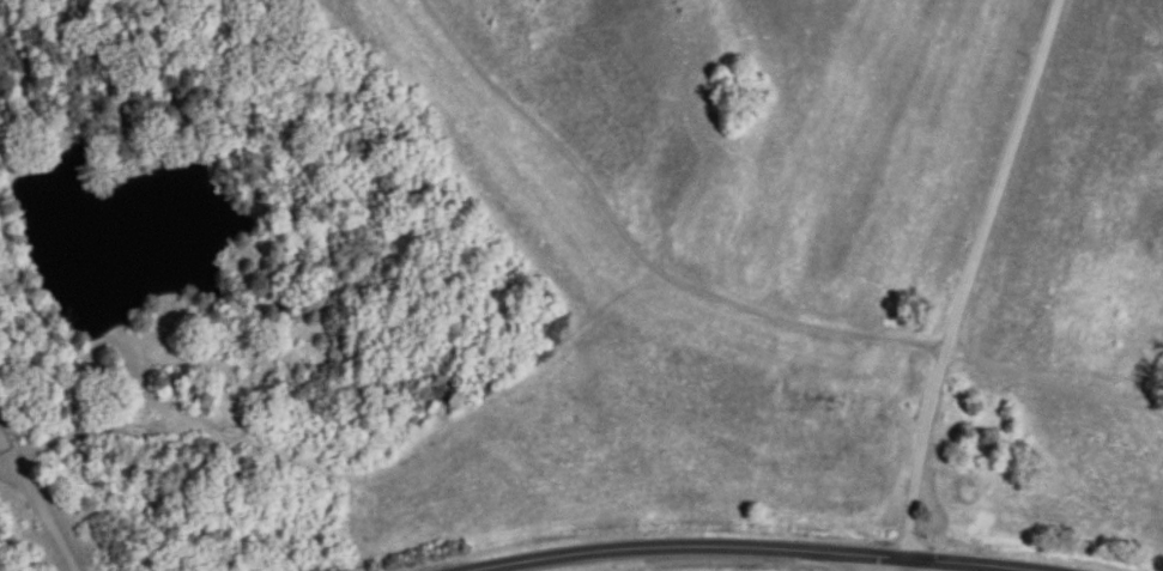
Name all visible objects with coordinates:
road: (969, 275)
road: (46, 510)
road: (752, 549)
road: (907, 565)

